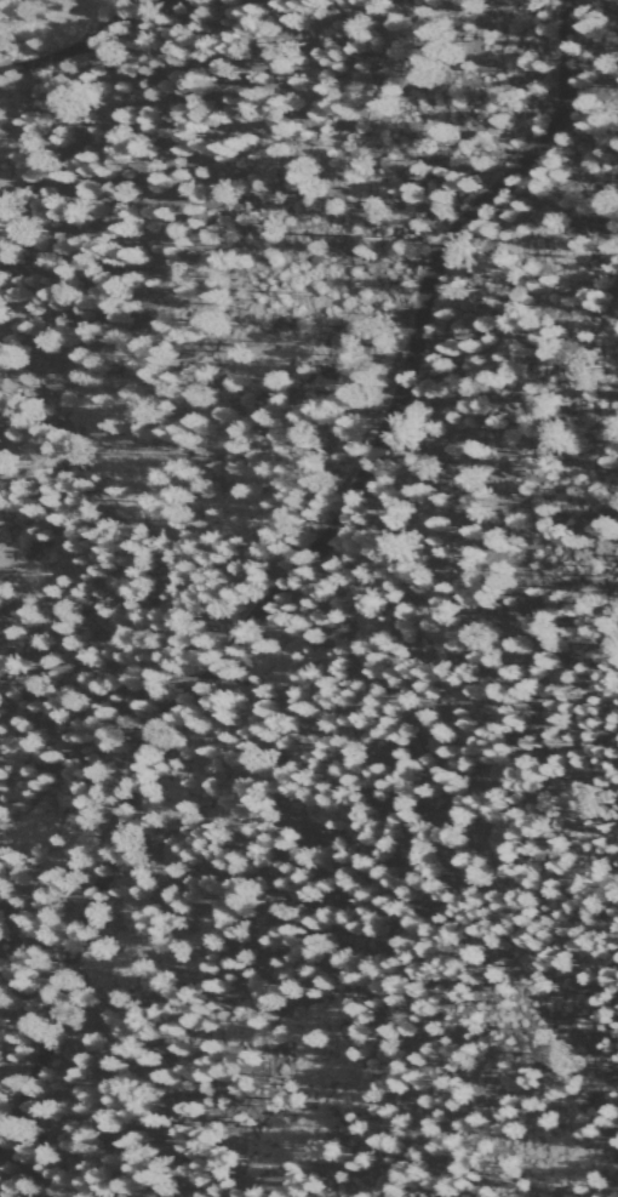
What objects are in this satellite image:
road: (71, 44)
road: (296, 563)
road: (23, 1181)

